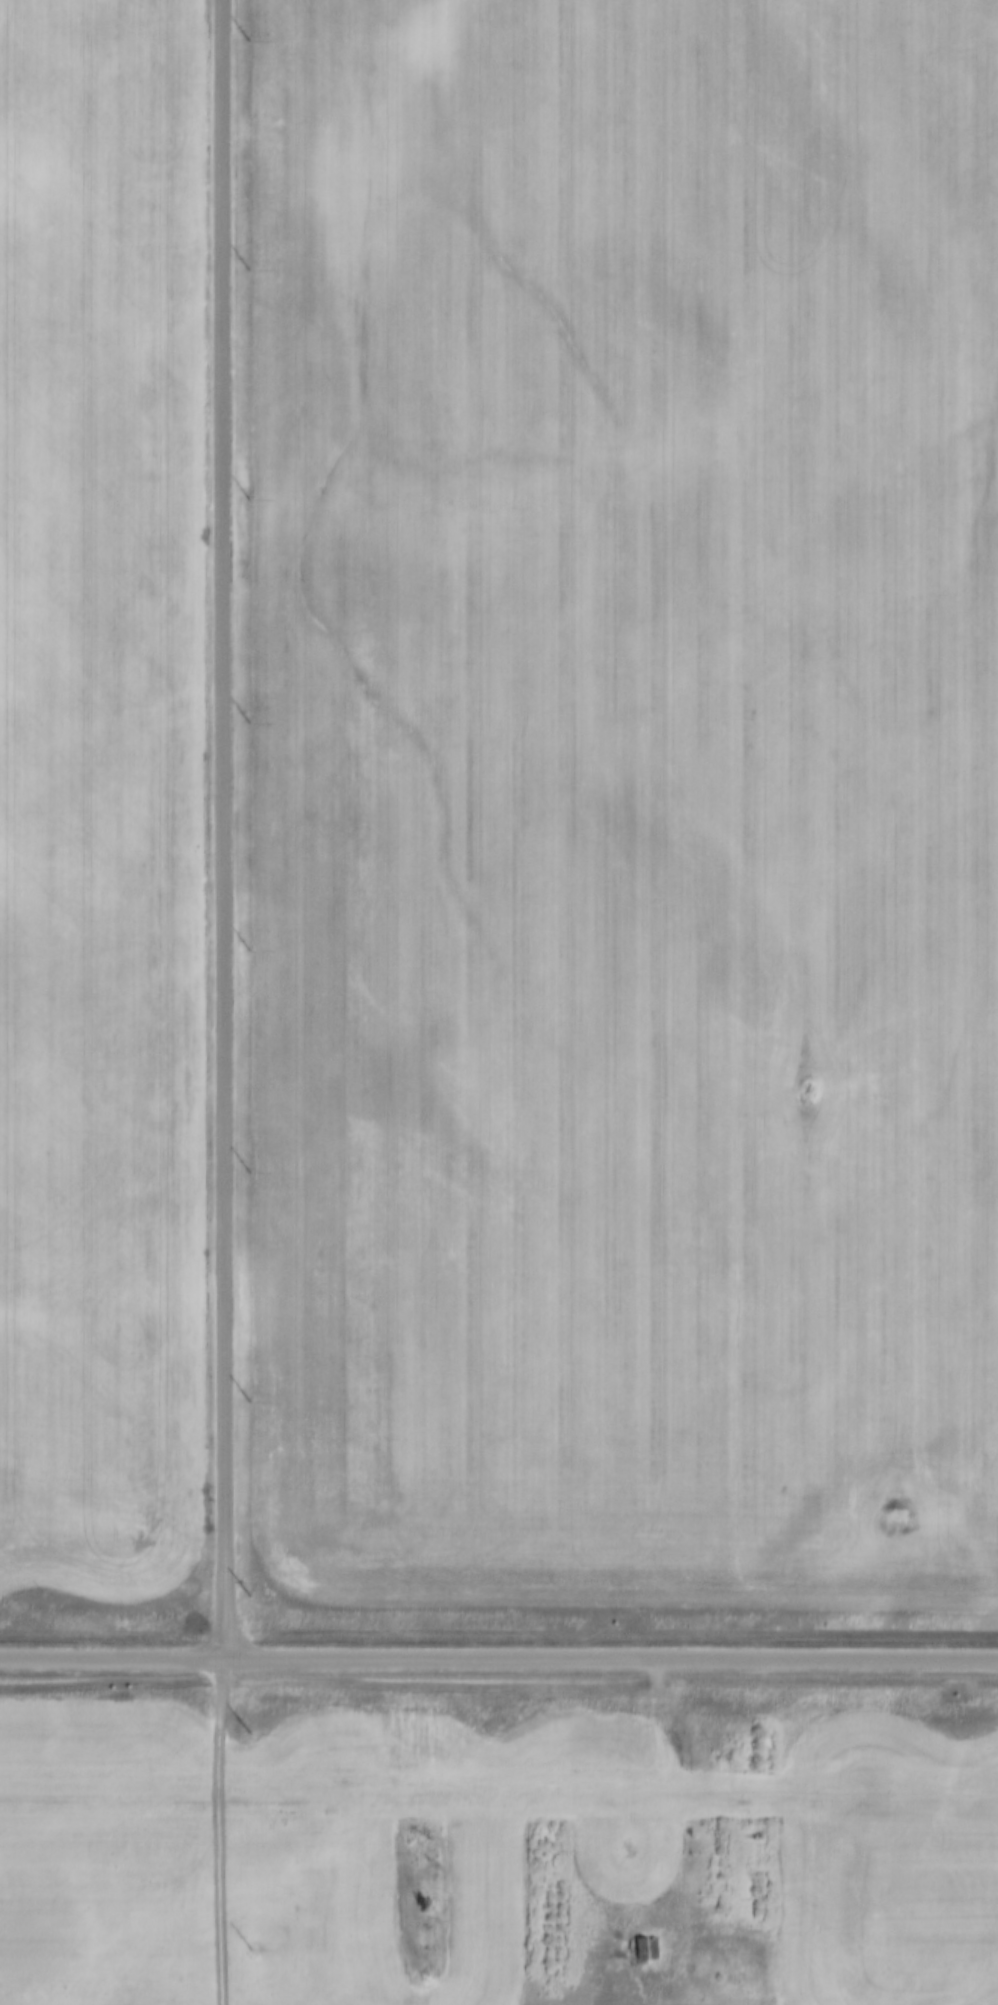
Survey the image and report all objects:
road: (221, 827)
road: (499, 1655)
road: (214, 1830)
building: (634, 1950)

